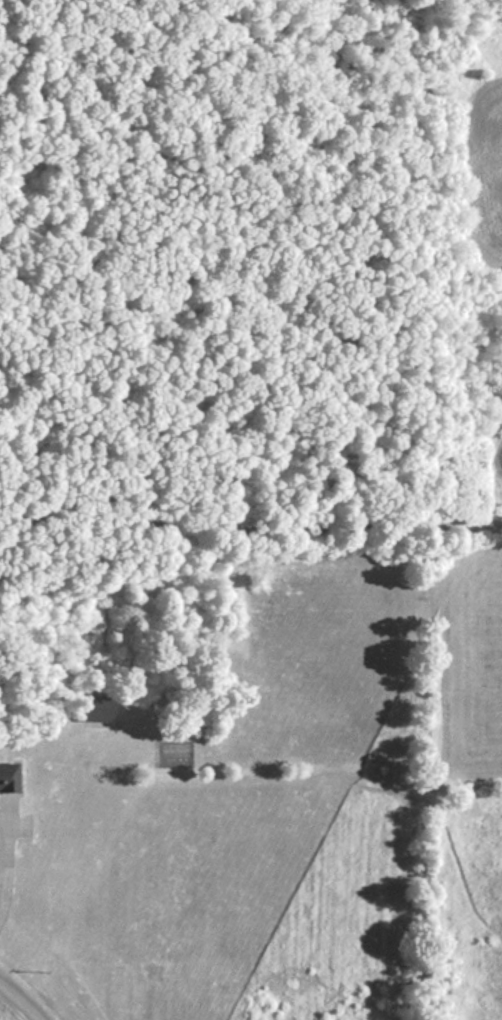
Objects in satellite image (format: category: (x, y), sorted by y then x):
building: (94, 711)
building: (7, 778)

